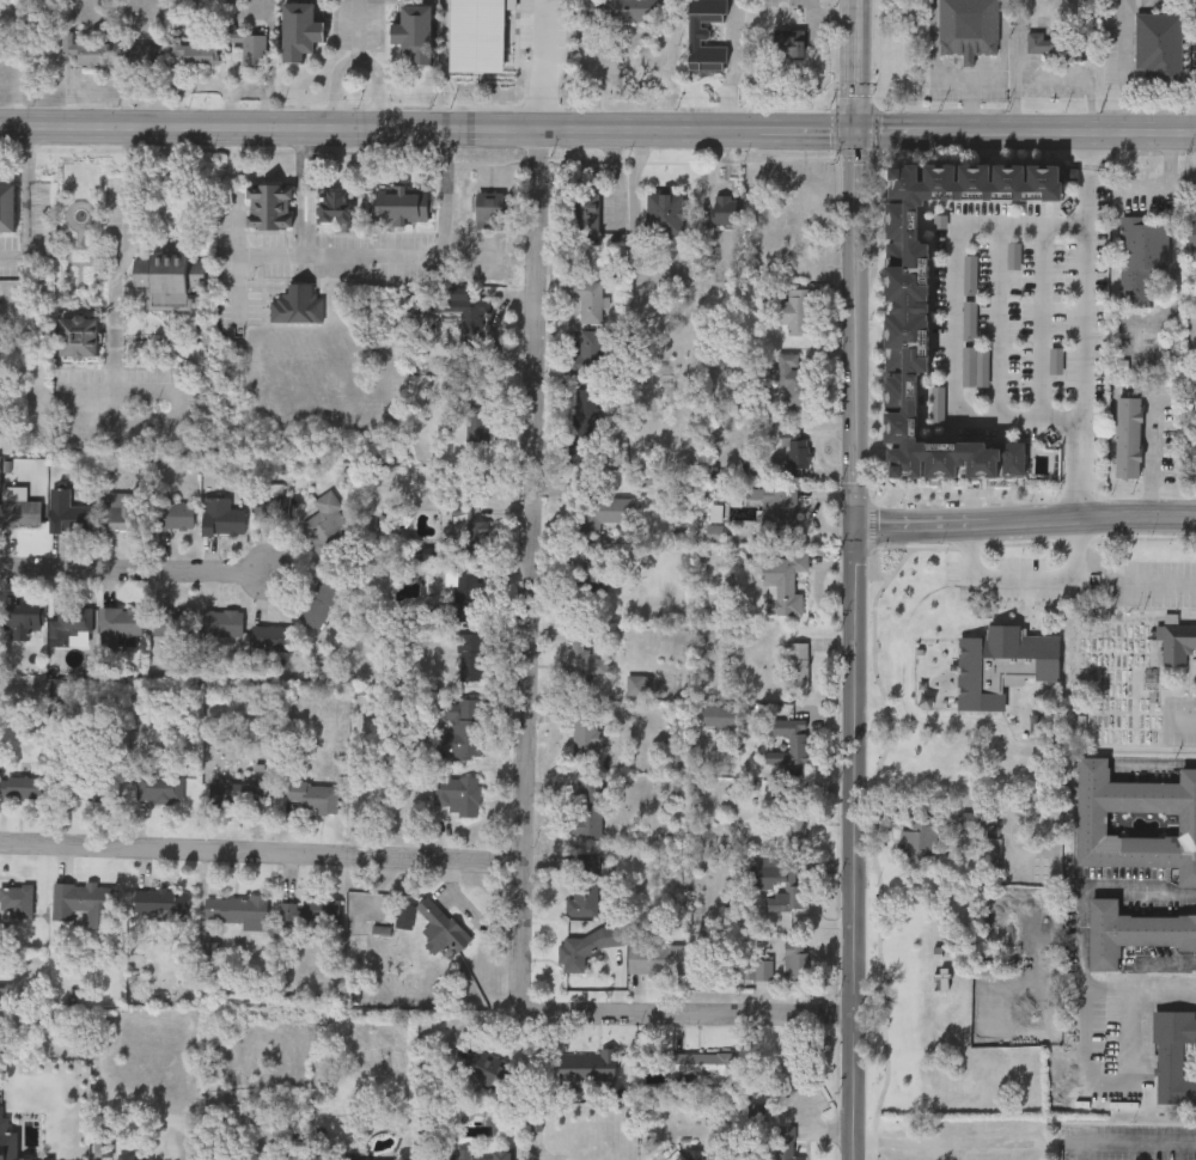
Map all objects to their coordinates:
building: (621, 10)
road: (825, 13)
building: (704, 16)
building: (970, 26)
building: (300, 28)
building: (414, 30)
building: (789, 42)
building: (1051, 44)
building: (1160, 45)
building: (86, 50)
building: (195, 51)
building: (141, 53)
building: (250, 53)
building: (707, 55)
road: (346, 61)
road: (537, 65)
road: (734, 66)
road: (1129, 67)
road: (966, 78)
road: (378, 86)
road: (970, 106)
road: (372, 128)
road: (798, 134)
traffic signals: (852, 135)
road: (1024, 135)
road: (630, 179)
road: (1129, 179)
road: (300, 191)
road: (311, 191)
road: (26, 202)
building: (7, 204)
building: (269, 204)
building: (335, 204)
building: (402, 206)
building: (806, 207)
building: (726, 208)
building: (489, 209)
building: (665, 214)
building: (587, 215)
building: (1194, 239)
road: (1174, 244)
road: (124, 255)
road: (238, 255)
road: (401, 256)
building: (1142, 257)
building: (803, 265)
building: (169, 277)
building: (587, 297)
building: (1194, 297)
building: (298, 303)
building: (456, 304)
building: (908, 307)
building: (797, 310)
road: (954, 317)
road: (1084, 325)
building: (79, 335)
building: (586, 353)
building: (792, 380)
building: (585, 419)
building: (474, 426)
building: (1129, 436)
building: (795, 453)
road: (1149, 469)
building: (271, 503)
building: (122, 511)
building: (777, 511)
building: (20, 512)
building: (68, 512)
building: (608, 512)
building: (173, 514)
building: (222, 515)
road: (1024, 520)
traffic signals: (853, 523)
building: (328, 524)
building: (468, 530)
road: (1091, 535)
road: (130, 569)
road: (1070, 575)
road: (852, 580)
building: (781, 581)
building: (464, 596)
building: (321, 603)
building: (72, 619)
building: (172, 621)
building: (22, 622)
building: (225, 622)
building: (120, 623)
building: (273, 636)
building: (1176, 643)
building: (470, 655)
building: (581, 660)
building: (799, 665)
building: (1003, 665)
building: (713, 714)
road: (1184, 720)
road: (523, 727)
building: (462, 731)
building: (585, 734)
building: (799, 746)
road: (1155, 761)
building: (915, 771)
building: (84, 780)
building: (159, 784)
building: (22, 786)
building: (238, 790)
building: (458, 794)
building: (315, 795)
building: (590, 808)
building: (792, 813)
building: (1091, 823)
building: (919, 838)
road: (260, 850)
building: (775, 867)
building: (586, 884)
building: (792, 898)
building: (17, 900)
building: (161, 900)
building: (84, 903)
building: (922, 908)
building: (238, 910)
building: (312, 912)
building: (440, 926)
building: (1133, 932)
road: (1079, 942)
building: (581, 948)
building: (658, 958)
building: (910, 959)
building: (798, 960)
building: (753, 970)
building: (4, 993)
building: (1173, 1056)
building: (701, 1062)
building: (487, 1068)
building: (588, 1068)
road: (1112, 1085)
building: (104, 1141)
building: (786, 1142)
road: (1023, 1144)
building: (458, 1154)
building: (695, 1154)
building: (136, 1156)
building: (366, 1159)

